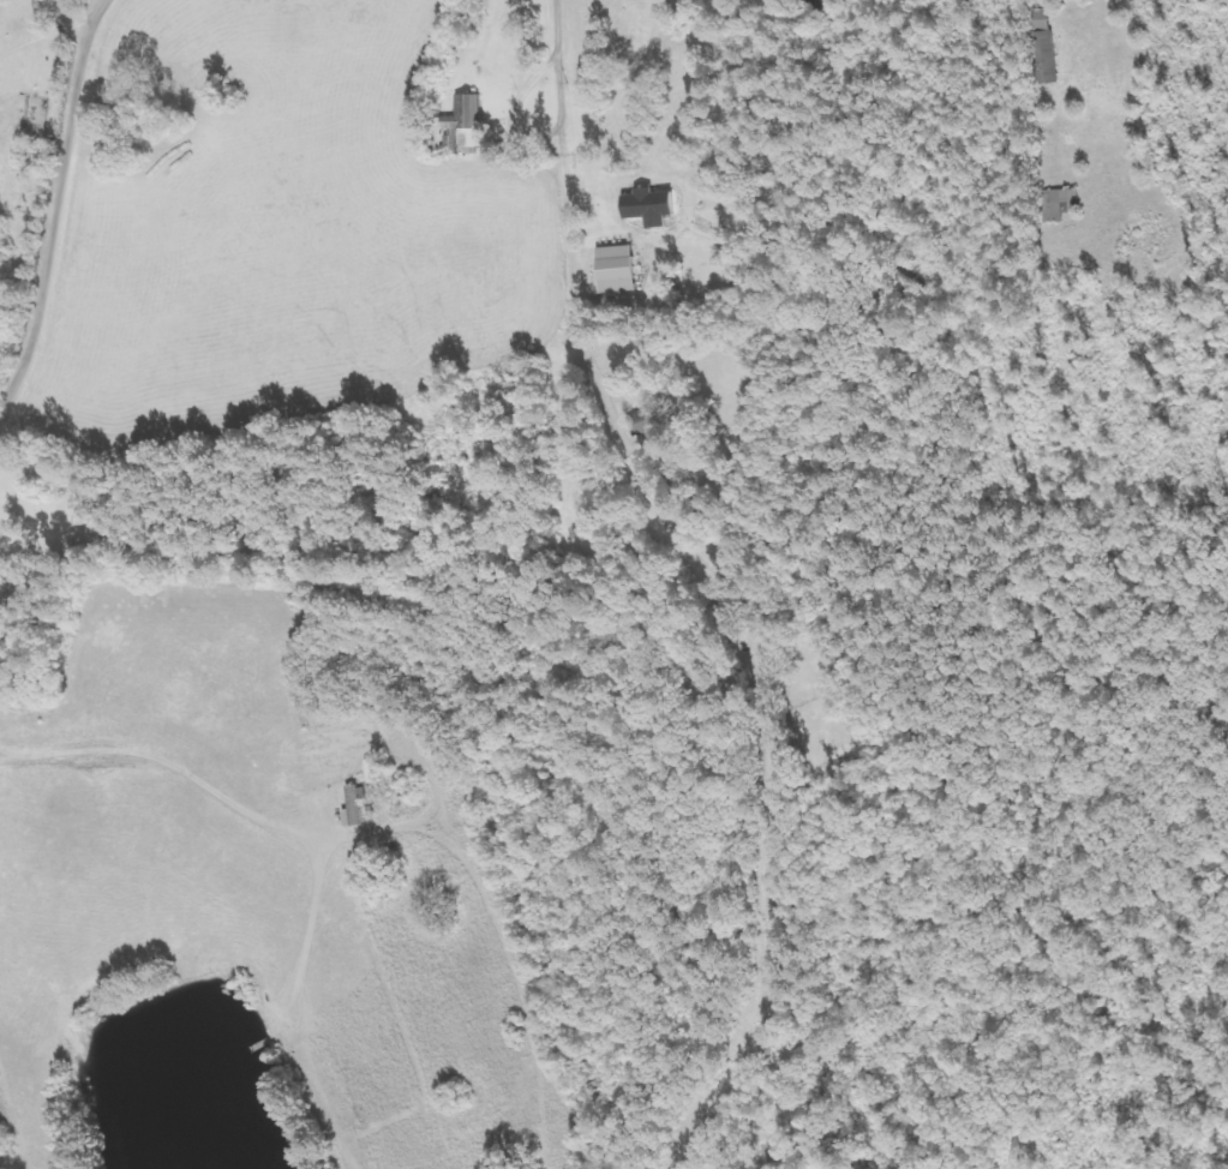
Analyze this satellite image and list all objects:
building: (1038, 44)
building: (462, 113)
road: (55, 191)
building: (1053, 203)
building: (616, 268)
building: (642, 420)
road: (702, 589)
park: (820, 671)
road: (157, 733)
building: (352, 804)

